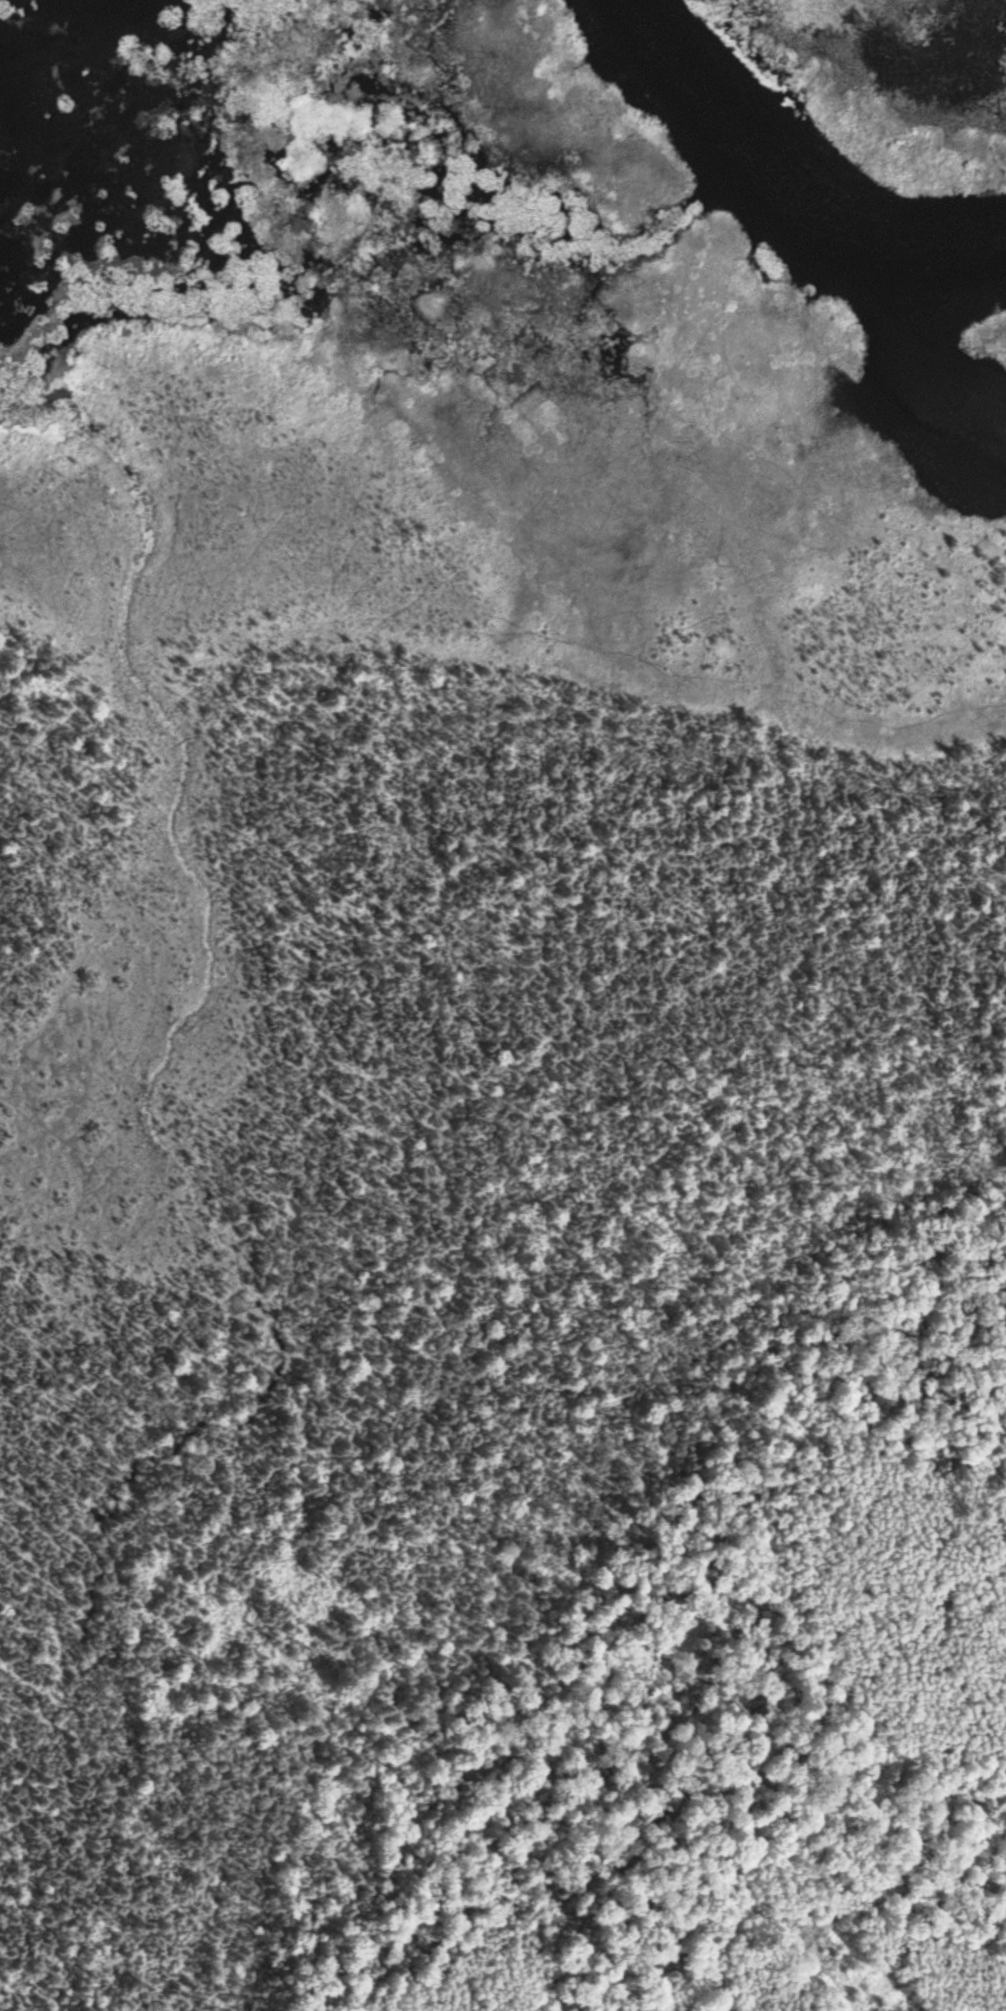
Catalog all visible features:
river: (984, 274)
road: (786, 1605)

